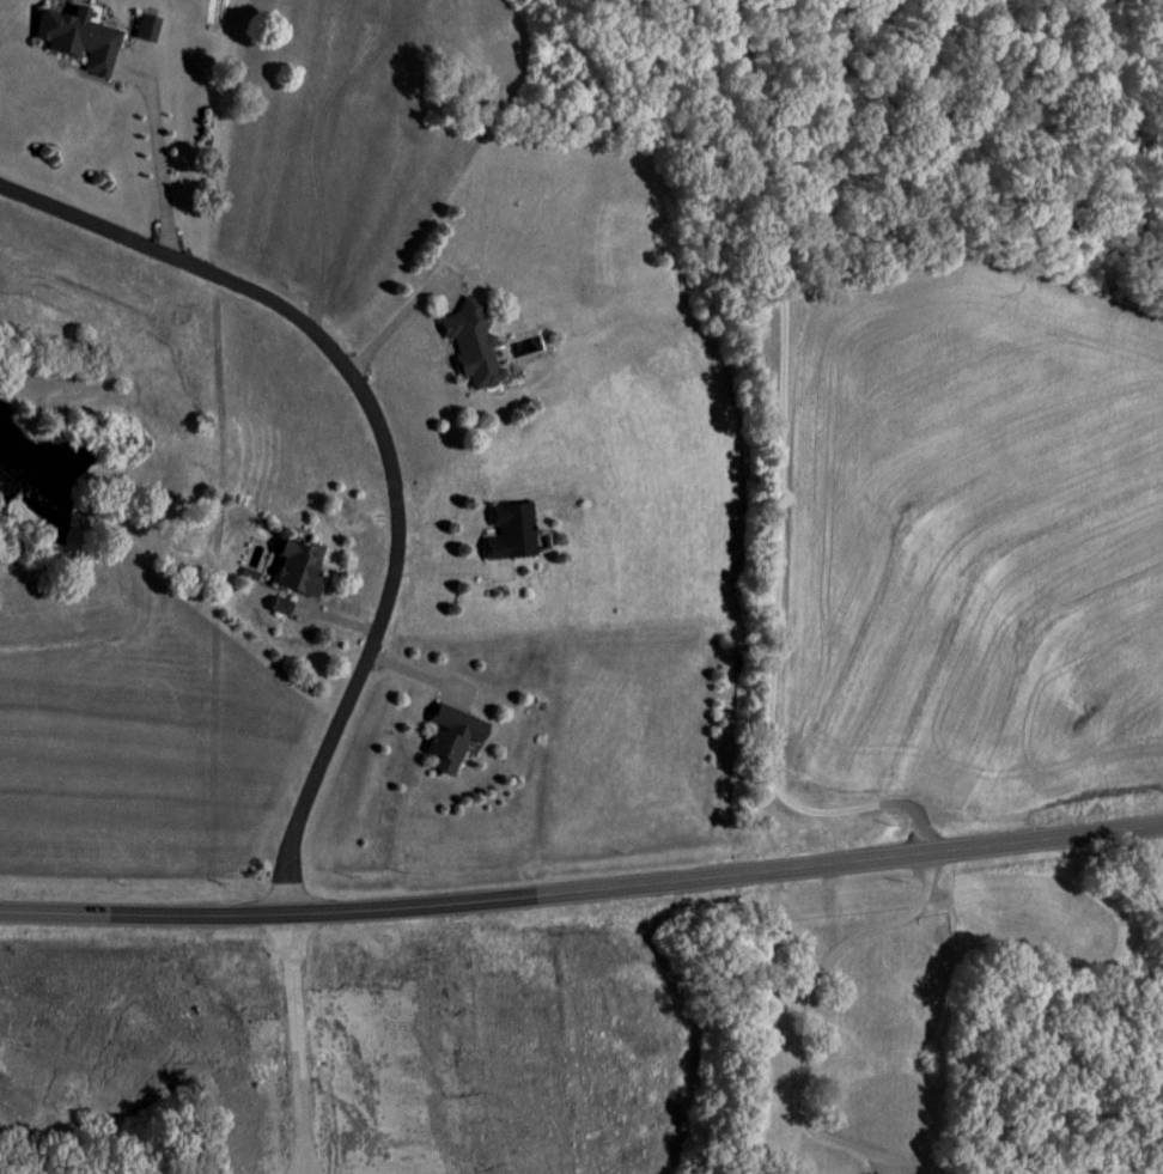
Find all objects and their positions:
building: (80, 38)
road: (160, 156)
building: (474, 346)
road: (394, 437)
road: (779, 476)
building: (516, 533)
building: (303, 570)
building: (455, 740)
road: (584, 884)
road: (812, 997)

